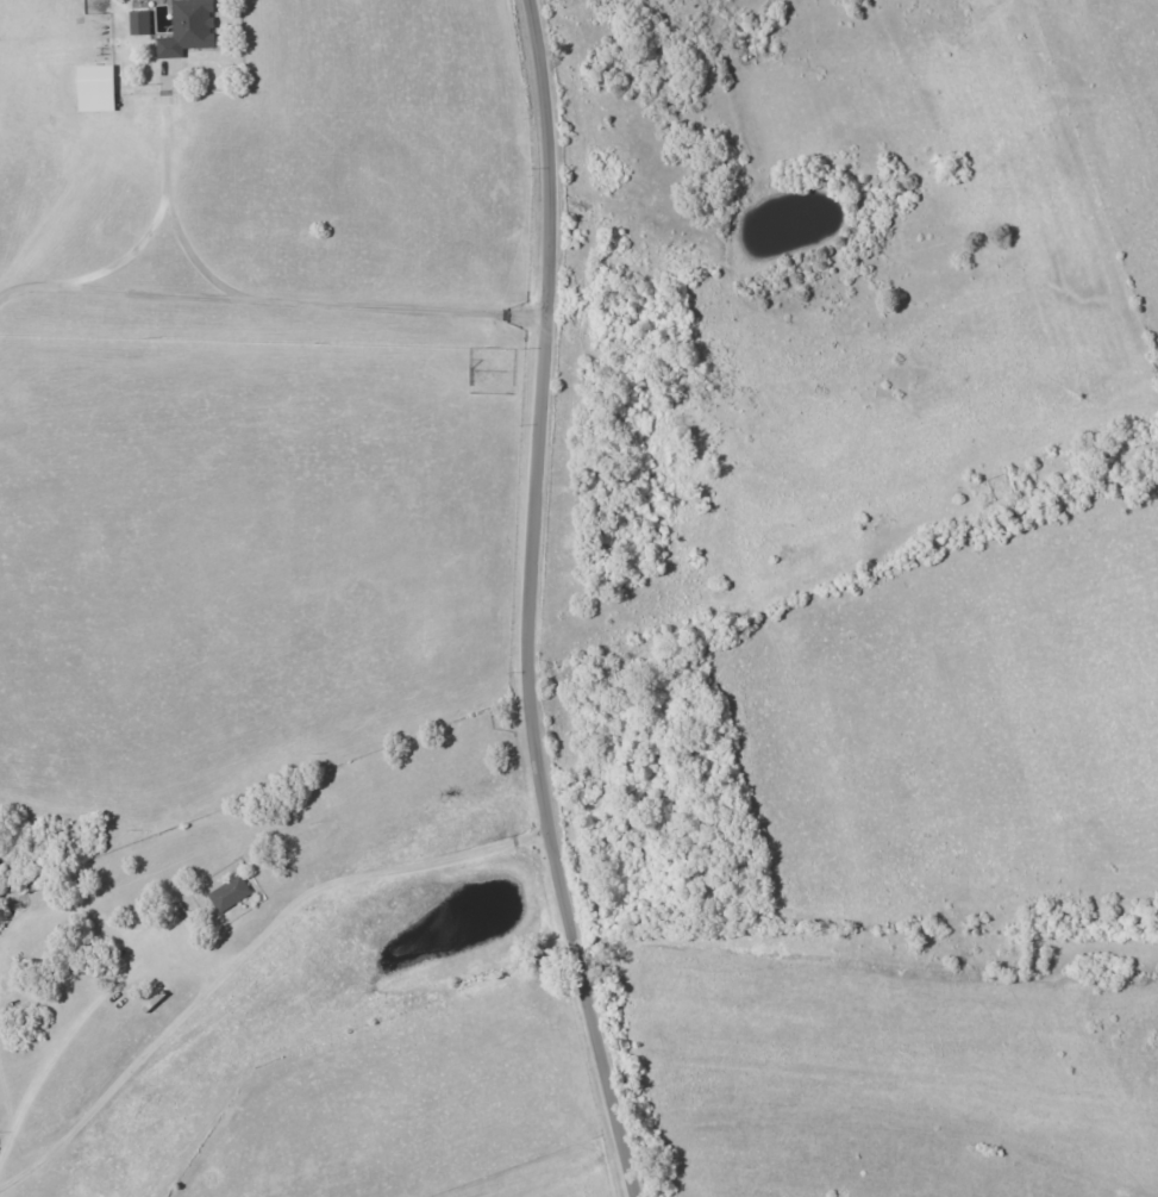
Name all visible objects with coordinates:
building: (137, 23)
building: (186, 29)
building: (93, 88)
road: (173, 216)
road: (125, 258)
road: (271, 306)
road: (530, 603)
building: (227, 893)
road: (242, 956)

